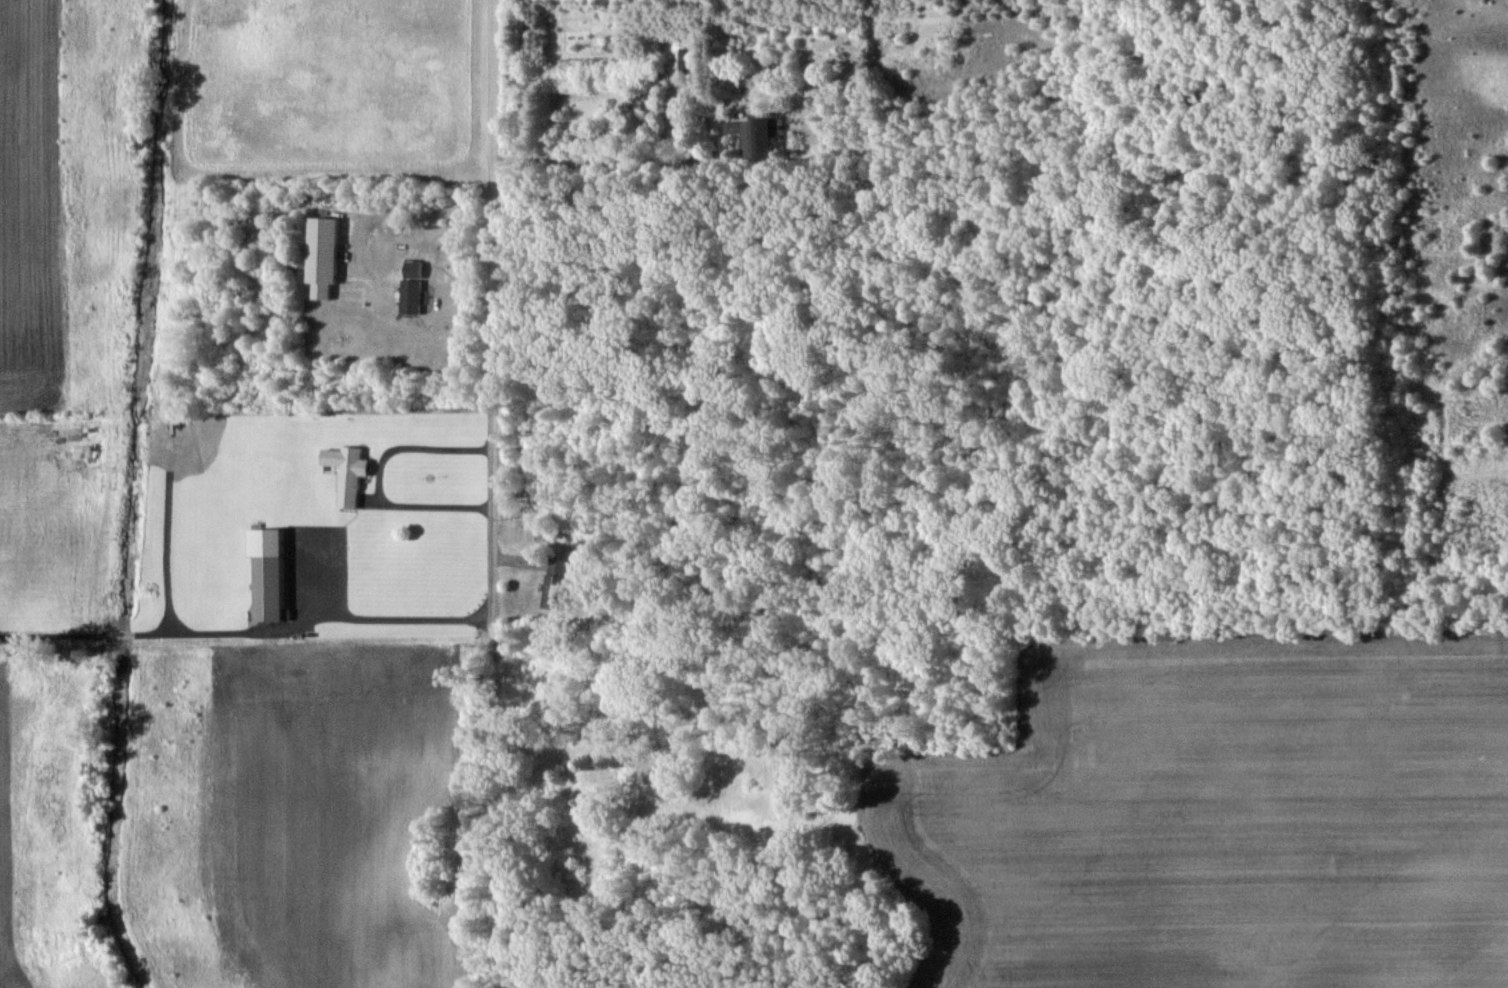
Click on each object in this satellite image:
building: (682, 60)
building: (753, 137)
building: (412, 287)
road: (491, 320)
building: (348, 472)
road: (378, 478)
building: (269, 572)
building: (554, 584)
road: (247, 633)

